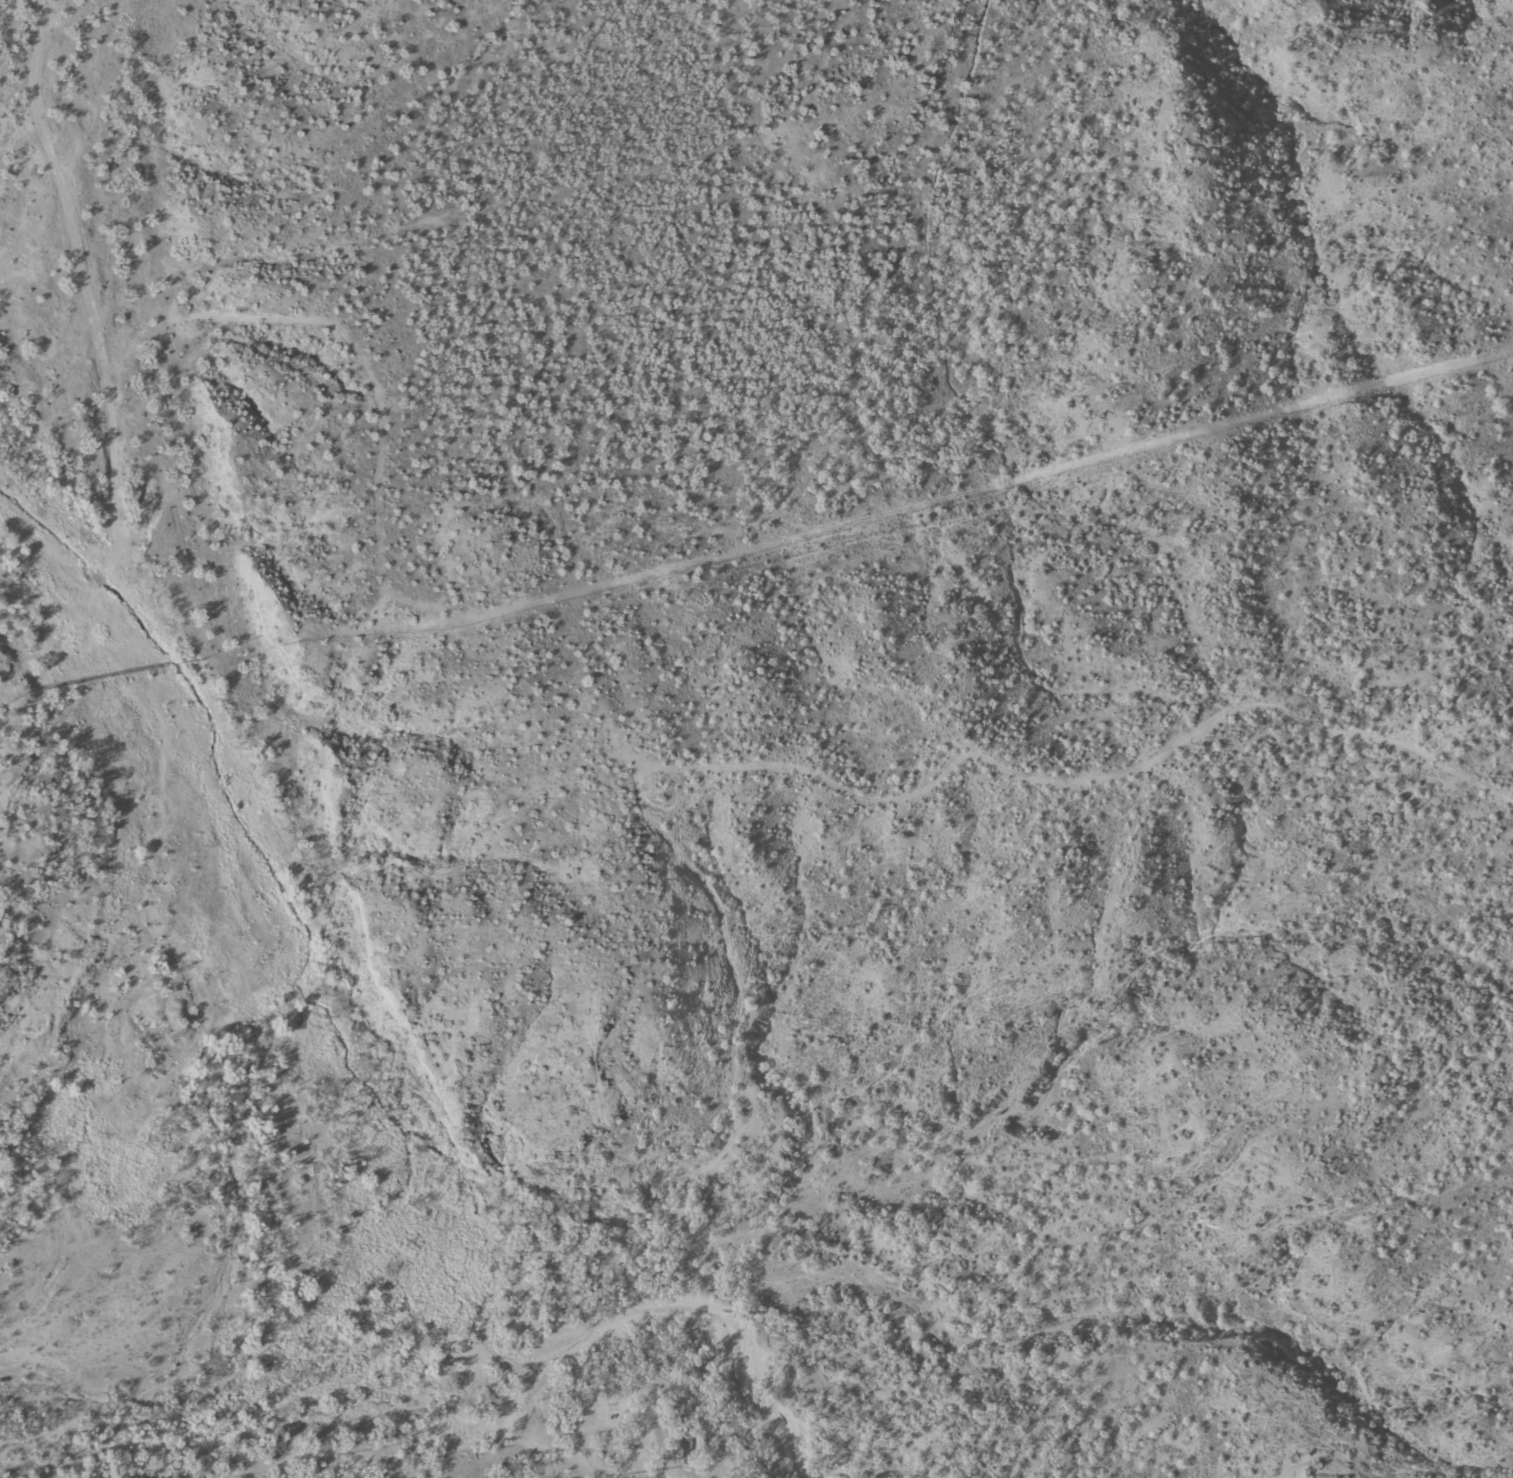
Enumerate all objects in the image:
road: (131, 447)
road: (698, 756)

